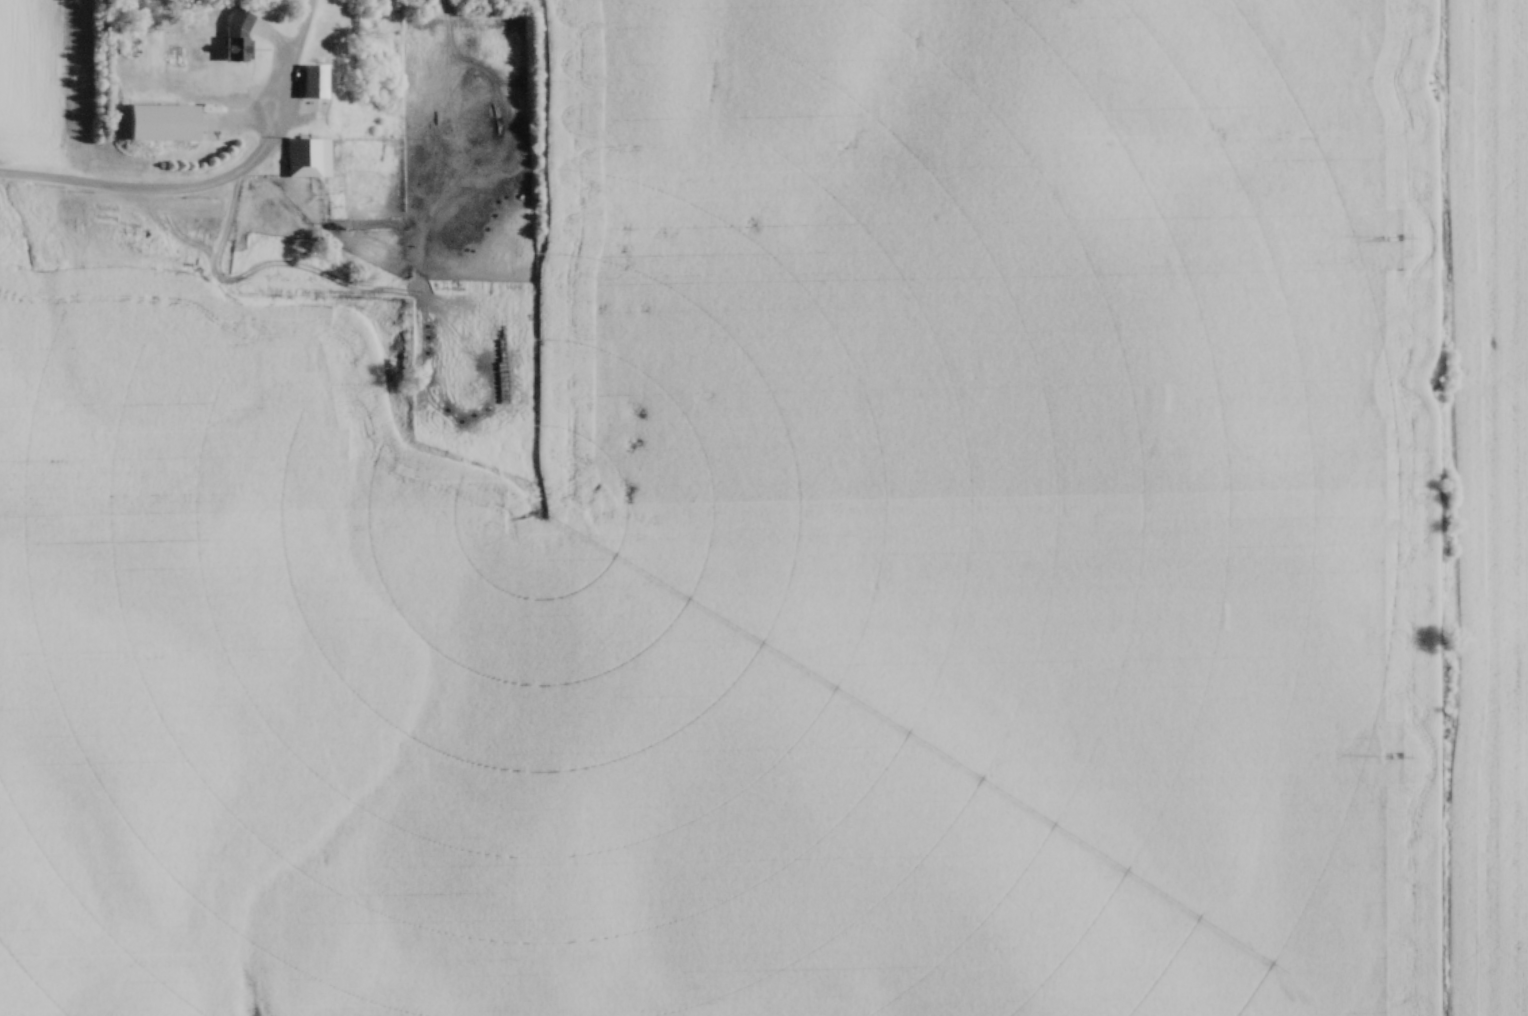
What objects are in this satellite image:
building: (128, 35)
building: (233, 37)
building: (306, 88)
building: (228, 102)
building: (124, 124)
building: (164, 130)
building: (301, 159)
building: (374, 188)
road: (178, 198)
power tower: (1390, 241)
power tower: (1391, 759)

